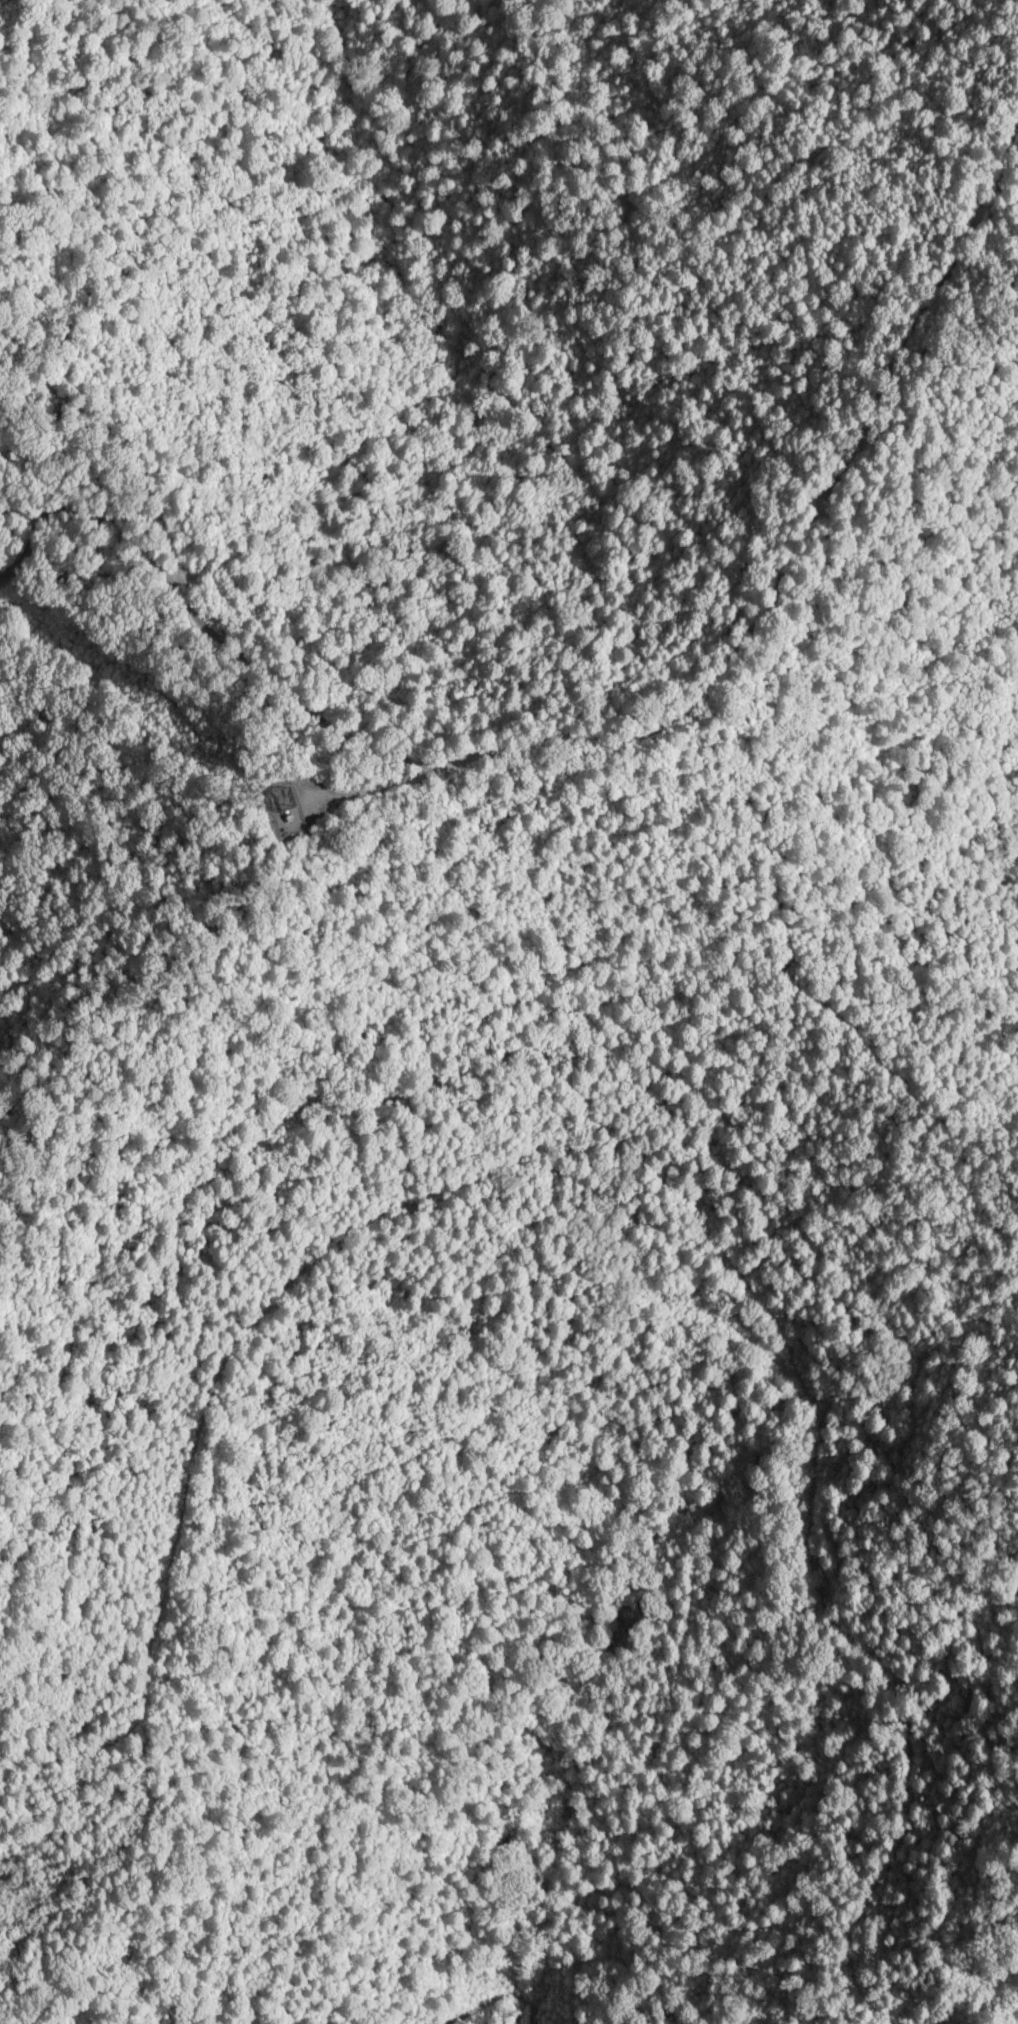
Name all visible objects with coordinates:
road: (911, 794)

